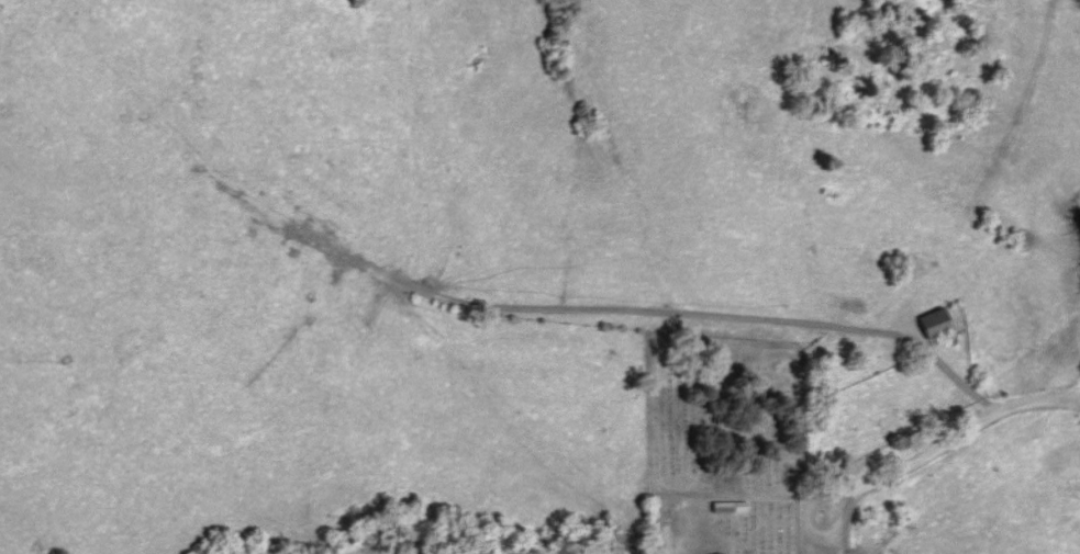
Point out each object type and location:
building: (940, 323)
road: (1065, 432)
park: (721, 442)
road: (898, 472)

